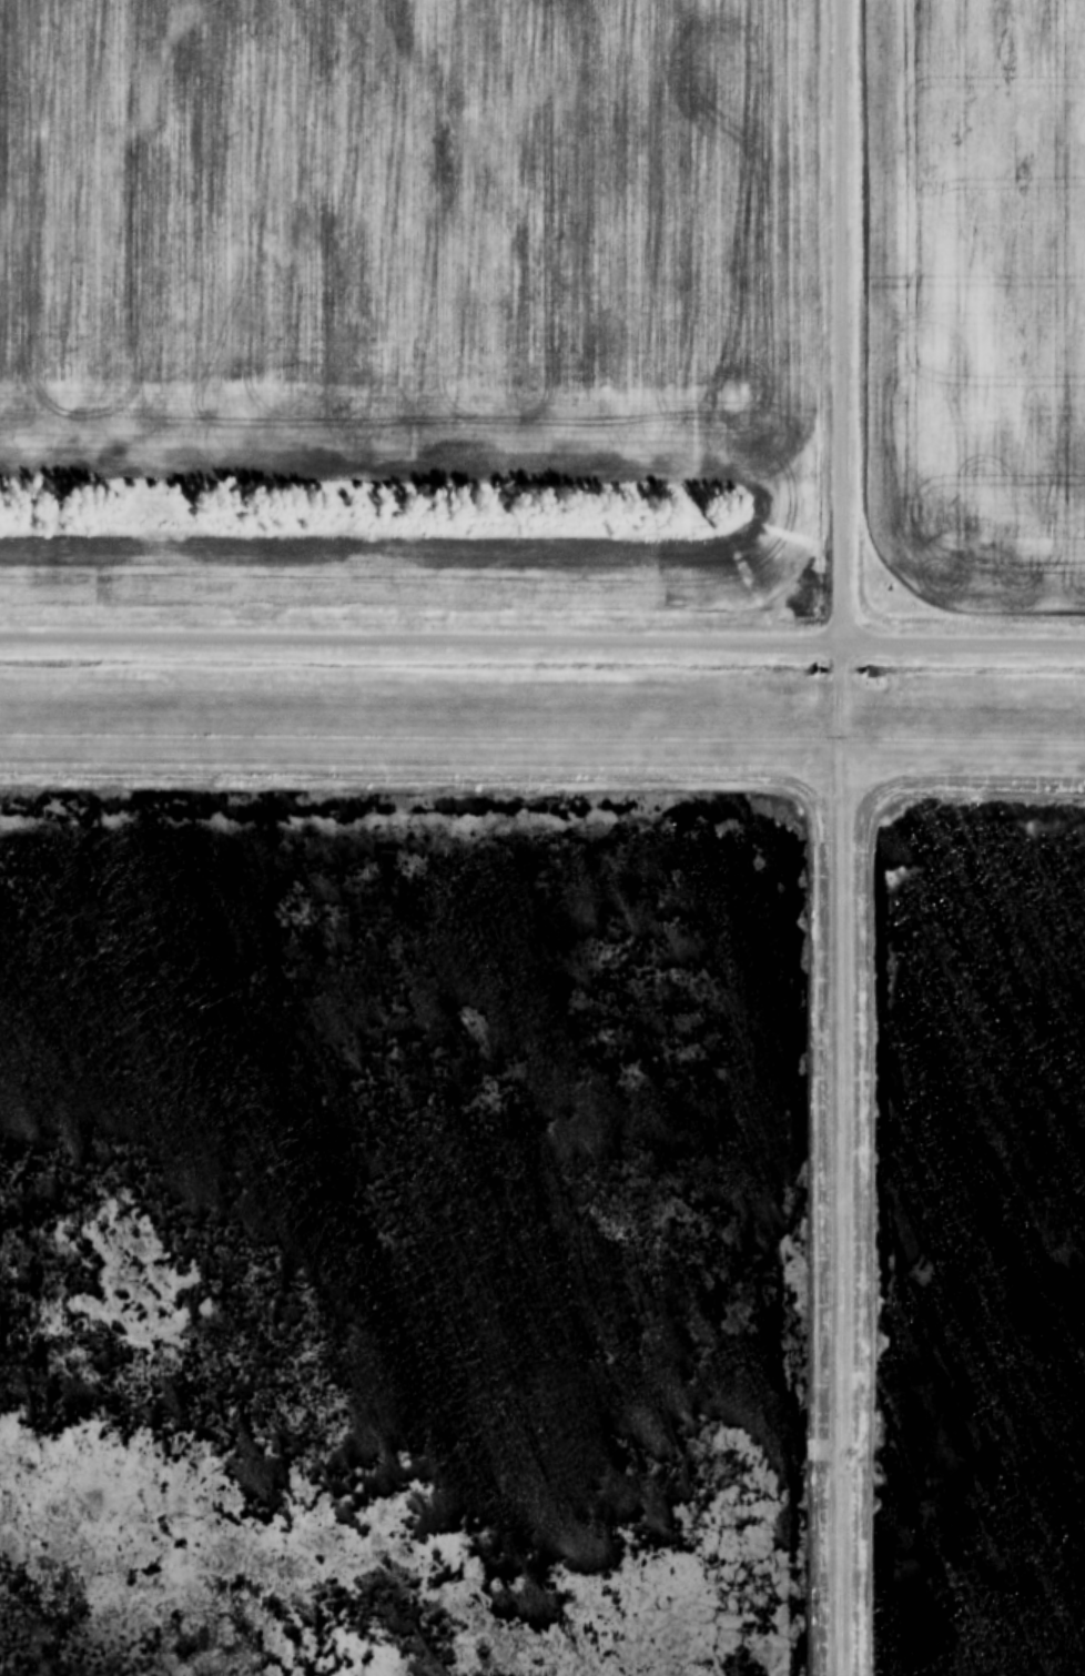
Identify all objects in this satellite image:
crop: (408, 286)
crop: (976, 301)
road: (839, 321)
road: (542, 640)
road: (840, 1159)
wastewater plant: (541, 1206)

